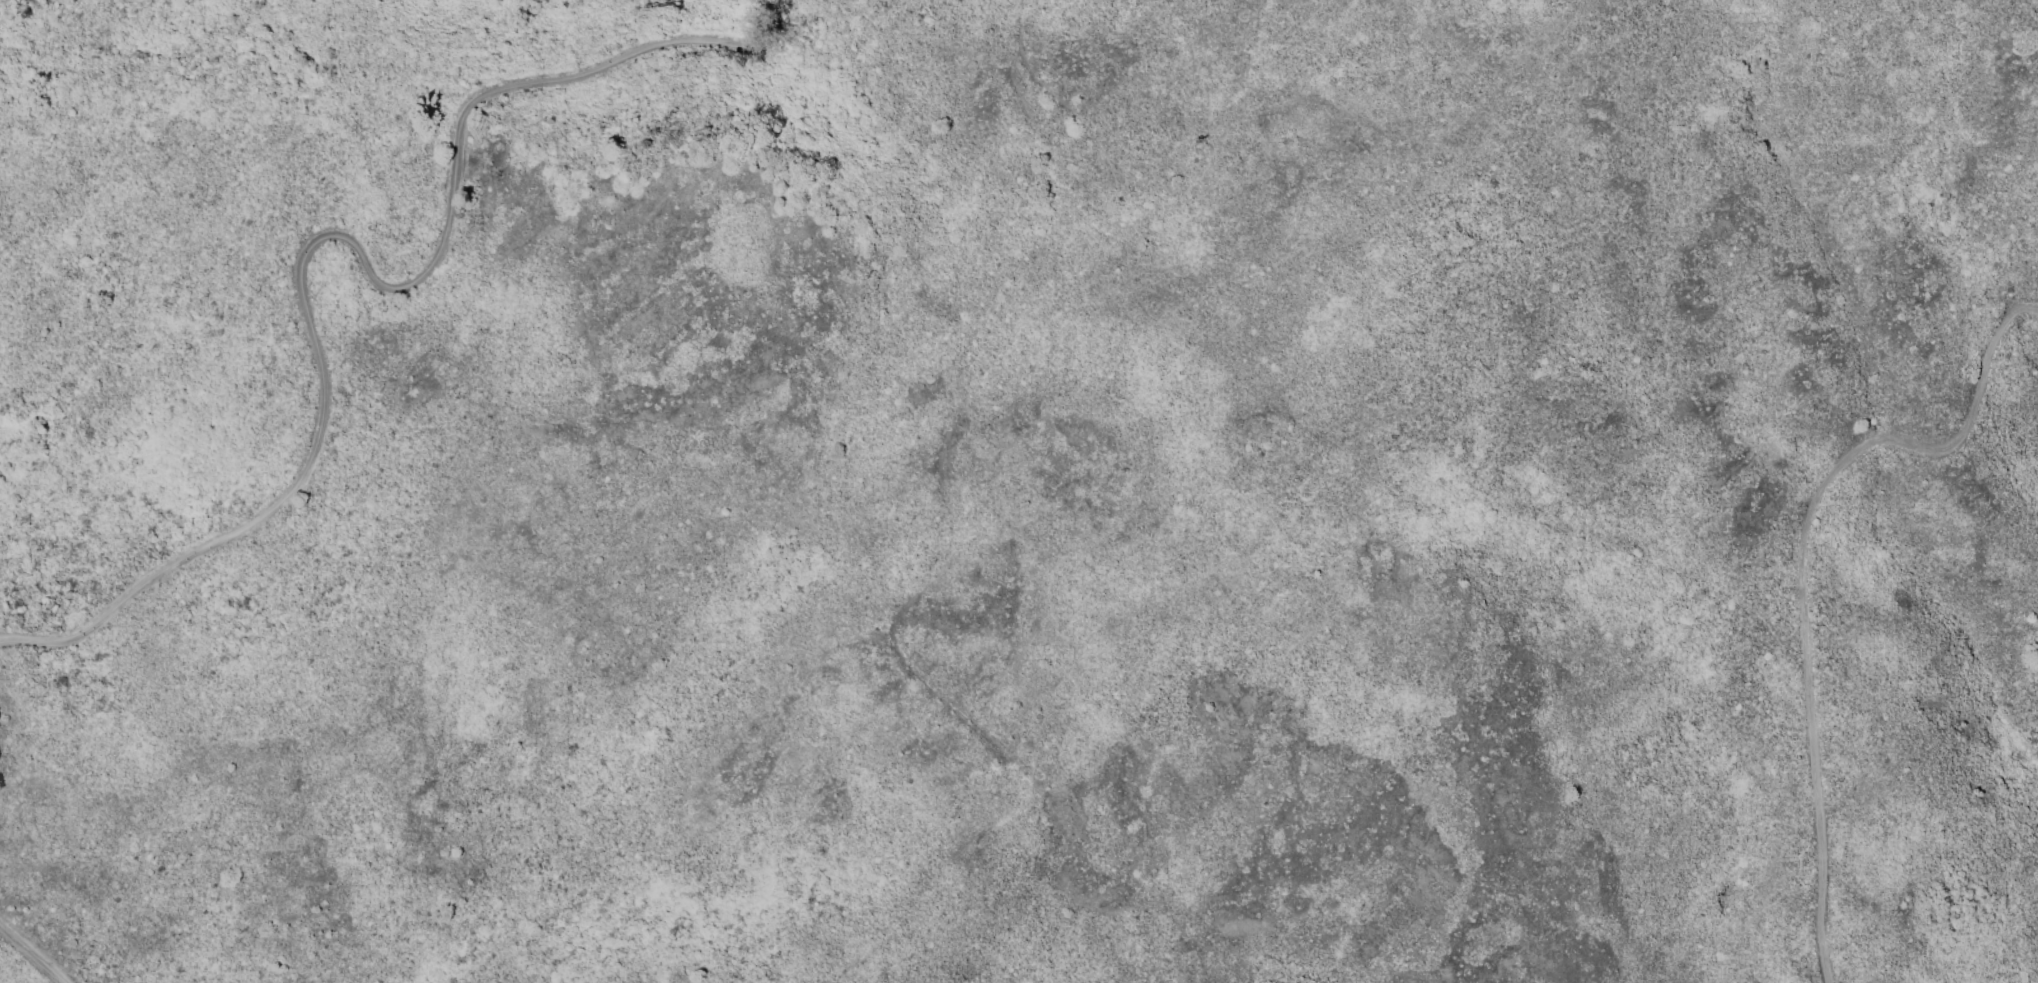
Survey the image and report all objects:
road: (348, 237)
road: (1802, 570)
road: (31, 954)

